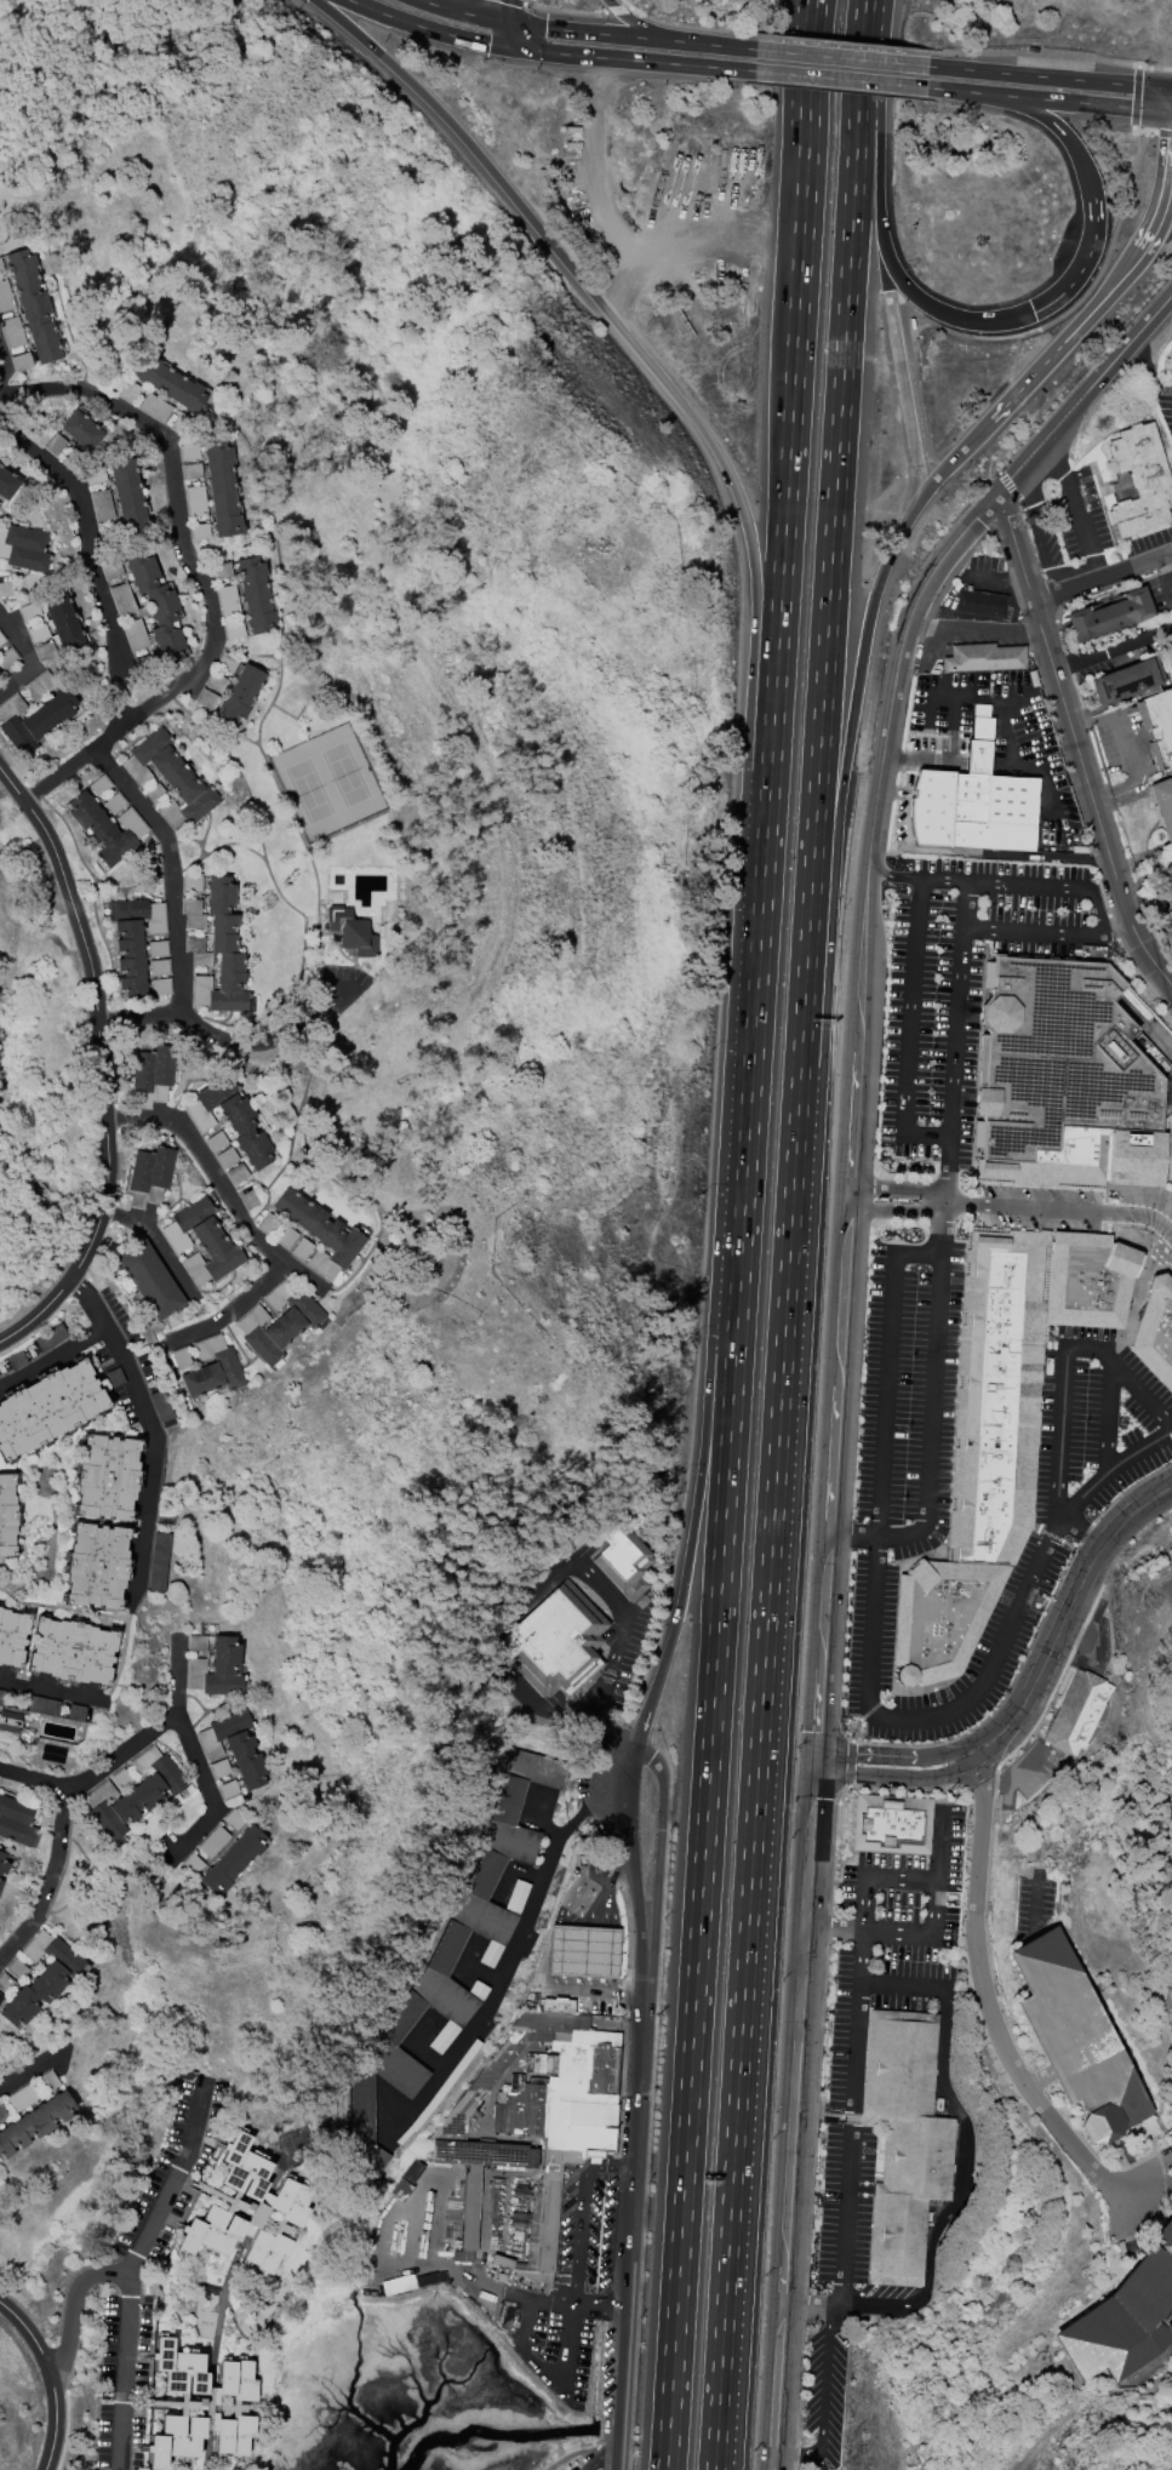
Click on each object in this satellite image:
road: (524, 2)
road: (628, 5)
road: (568, 8)
road: (618, 10)
road: (508, 12)
road: (461, 15)
traffic signals: (510, 25)
road: (692, 27)
road: (647, 29)
road: (431, 33)
road: (602, 34)
road: (514, 39)
road: (841, 41)
road: (725, 46)
traffic signals: (522, 52)
road: (1050, 52)
road: (841, 58)
road: (638, 61)
road: (1042, 76)
road: (840, 79)
traffic signals: (1159, 87)
road: (1165, 87)
road: (950, 90)
road: (1166, 92)
road: (800, 95)
road: (810, 95)
road: (1134, 97)
road: (1073, 102)
road: (877, 119)
road: (1139, 131)
road: (1159, 133)
road: (606, 189)
road: (1162, 198)
road: (714, 228)
road: (850, 241)
road: (568, 267)
building: (1, 268)
road: (1081, 279)
building: (5, 296)
road: (1074, 301)
building: (33, 307)
building: (11, 332)
road: (1060, 343)
building: (21, 361)
road: (7, 370)
building: (168, 383)
road: (902, 383)
road: (793, 387)
building: (128, 391)
road: (1087, 399)
building: (154, 407)
building: (179, 423)
road: (921, 424)
building: (81, 429)
building: (55, 444)
building: (188, 452)
building: (73, 458)
building: (190, 470)
road: (938, 474)
building: (95, 475)
building: (1140, 480)
building: (7, 484)
building: (221, 488)
building: (128, 498)
building: (194, 501)
building: (102, 504)
road: (1077, 509)
building: (199, 531)
building: (108, 533)
road: (1039, 536)
building: (4, 548)
building: (25, 548)
road: (98, 553)
building: (221, 570)
road: (201, 574)
road: (996, 577)
road: (1102, 578)
road: (1166, 578)
building: (255, 595)
building: (122, 599)
building: (227, 600)
building: (979, 604)
building: (156, 606)
building: (29, 611)
building: (1108, 614)
building: (62, 621)
road: (978, 624)
building: (234, 630)
building: (38, 633)
building: (135, 635)
building: (1, 640)
road: (1114, 647)
building: (45, 651)
road: (39, 654)
building: (983, 657)
building: (7, 658)
building: (227, 662)
building: (145, 664)
building: (0, 673)
road: (762, 673)
road: (776, 676)
building: (1127, 680)
building: (216, 682)
building: (39, 686)
building: (240, 694)
building: (206, 699)
road: (956, 714)
building: (33, 719)
road: (821, 722)
building: (1159, 725)
road: (847, 743)
road: (1125, 744)
road: (1076, 745)
road: (997, 766)
building: (168, 778)
building: (99, 785)
building: (155, 794)
building: (113, 804)
building: (1162, 804)
building: (985, 816)
building: (105, 829)
road: (177, 869)
road: (1145, 876)
road: (892, 880)
building: (191, 882)
road: (1051, 887)
road: (1145, 902)
building: (193, 913)
building: (350, 931)
road: (1050, 934)
building: (133, 938)
building: (158, 949)
building: (198, 951)
building: (222, 953)
building: (159, 967)
building: (160, 987)
parking lot: (961, 988)
road: (753, 1027)
road: (909, 1028)
road: (233, 1039)
building: (1063, 1060)
road: (104, 1062)
building: (151, 1074)
road: (853, 1107)
building: (230, 1119)
building: (217, 1140)
building: (1168, 1149)
building: (227, 1157)
building: (1087, 1162)
building: (236, 1173)
building: (149, 1176)
road: (897, 1190)
parking lot: (1047, 1208)
road: (1059, 1211)
road: (896, 1214)
road: (250, 1222)
building: (268, 1223)
building: (320, 1233)
road: (939, 1234)
building: (286, 1237)
road: (158, 1240)
building: (201, 1241)
building: (302, 1248)
parking lot: (1166, 1251)
building: (149, 1280)
building: (278, 1321)
building: (1157, 1333)
building: (48, 1338)
road: (1067, 1355)
road: (53, 1357)
building: (181, 1359)
building: (212, 1368)
road: (720, 1373)
road: (732, 1380)
road: (1142, 1399)
building: (47, 1408)
road: (151, 1424)
building: (1002, 1426)
building: (107, 1477)
parking lot: (1092, 1479)
road: (1094, 1486)
building: (6, 1515)
building: (624, 1561)
building: (159, 1562)
road: (559, 1565)
building: (96, 1566)
road: (678, 1608)
road: (1065, 1617)
road: (874, 1618)
building: (12, 1636)
building: (196, 1642)
building: (556, 1642)
building: (72, 1651)
building: (217, 1669)
road: (51, 1686)
building: (1, 1696)
building: (44, 1705)
building: (75, 1713)
building: (1077, 1713)
road: (760, 1716)
building: (10, 1721)
building: (234, 1746)
traffic signals: (818, 1750)
road: (124, 1753)
road: (894, 1754)
road: (818, 1759)
traffic signals: (818, 1767)
road: (195, 1768)
building: (218, 1768)
road: (898, 1772)
building: (121, 1779)
building: (228, 1789)
building: (135, 1793)
building: (233, 1819)
building: (16, 1820)
building: (892, 1823)
road: (659, 1836)
building: (212, 1841)
road: (630, 1841)
building: (233, 1860)
building: (193, 1863)
building: (2, 1864)
building: (0, 1881)
road: (50, 1883)
road: (519, 1933)
road: (930, 1933)
building: (587, 1951)
road: (544, 1954)
building: (452, 1956)
building: (16, 1968)
road: (694, 1972)
building: (40, 1977)
building: (5, 1983)
road: (902, 1990)
building: (1, 1997)
road: (988, 2005)
building: (1075, 2037)
road: (856, 2053)
road: (25, 2074)
building: (48, 2081)
building: (23, 2097)
building: (2, 2114)
road: (795, 2117)
building: (545, 2119)
building: (34, 2122)
building: (905, 2143)
building: (411, 2171)
road: (959, 2188)
road: (634, 2200)
parking lot: (845, 2202)
building: (247, 2209)
road: (583, 2209)
building: (468, 2232)
road: (133, 2269)
building: (401, 2285)
road: (74, 2304)
road: (600, 2304)
road: (813, 2305)
building: (1125, 2319)
road: (539, 2363)
road: (50, 2375)
road: (825, 2400)
building: (199, 2406)
road: (601, 2451)

